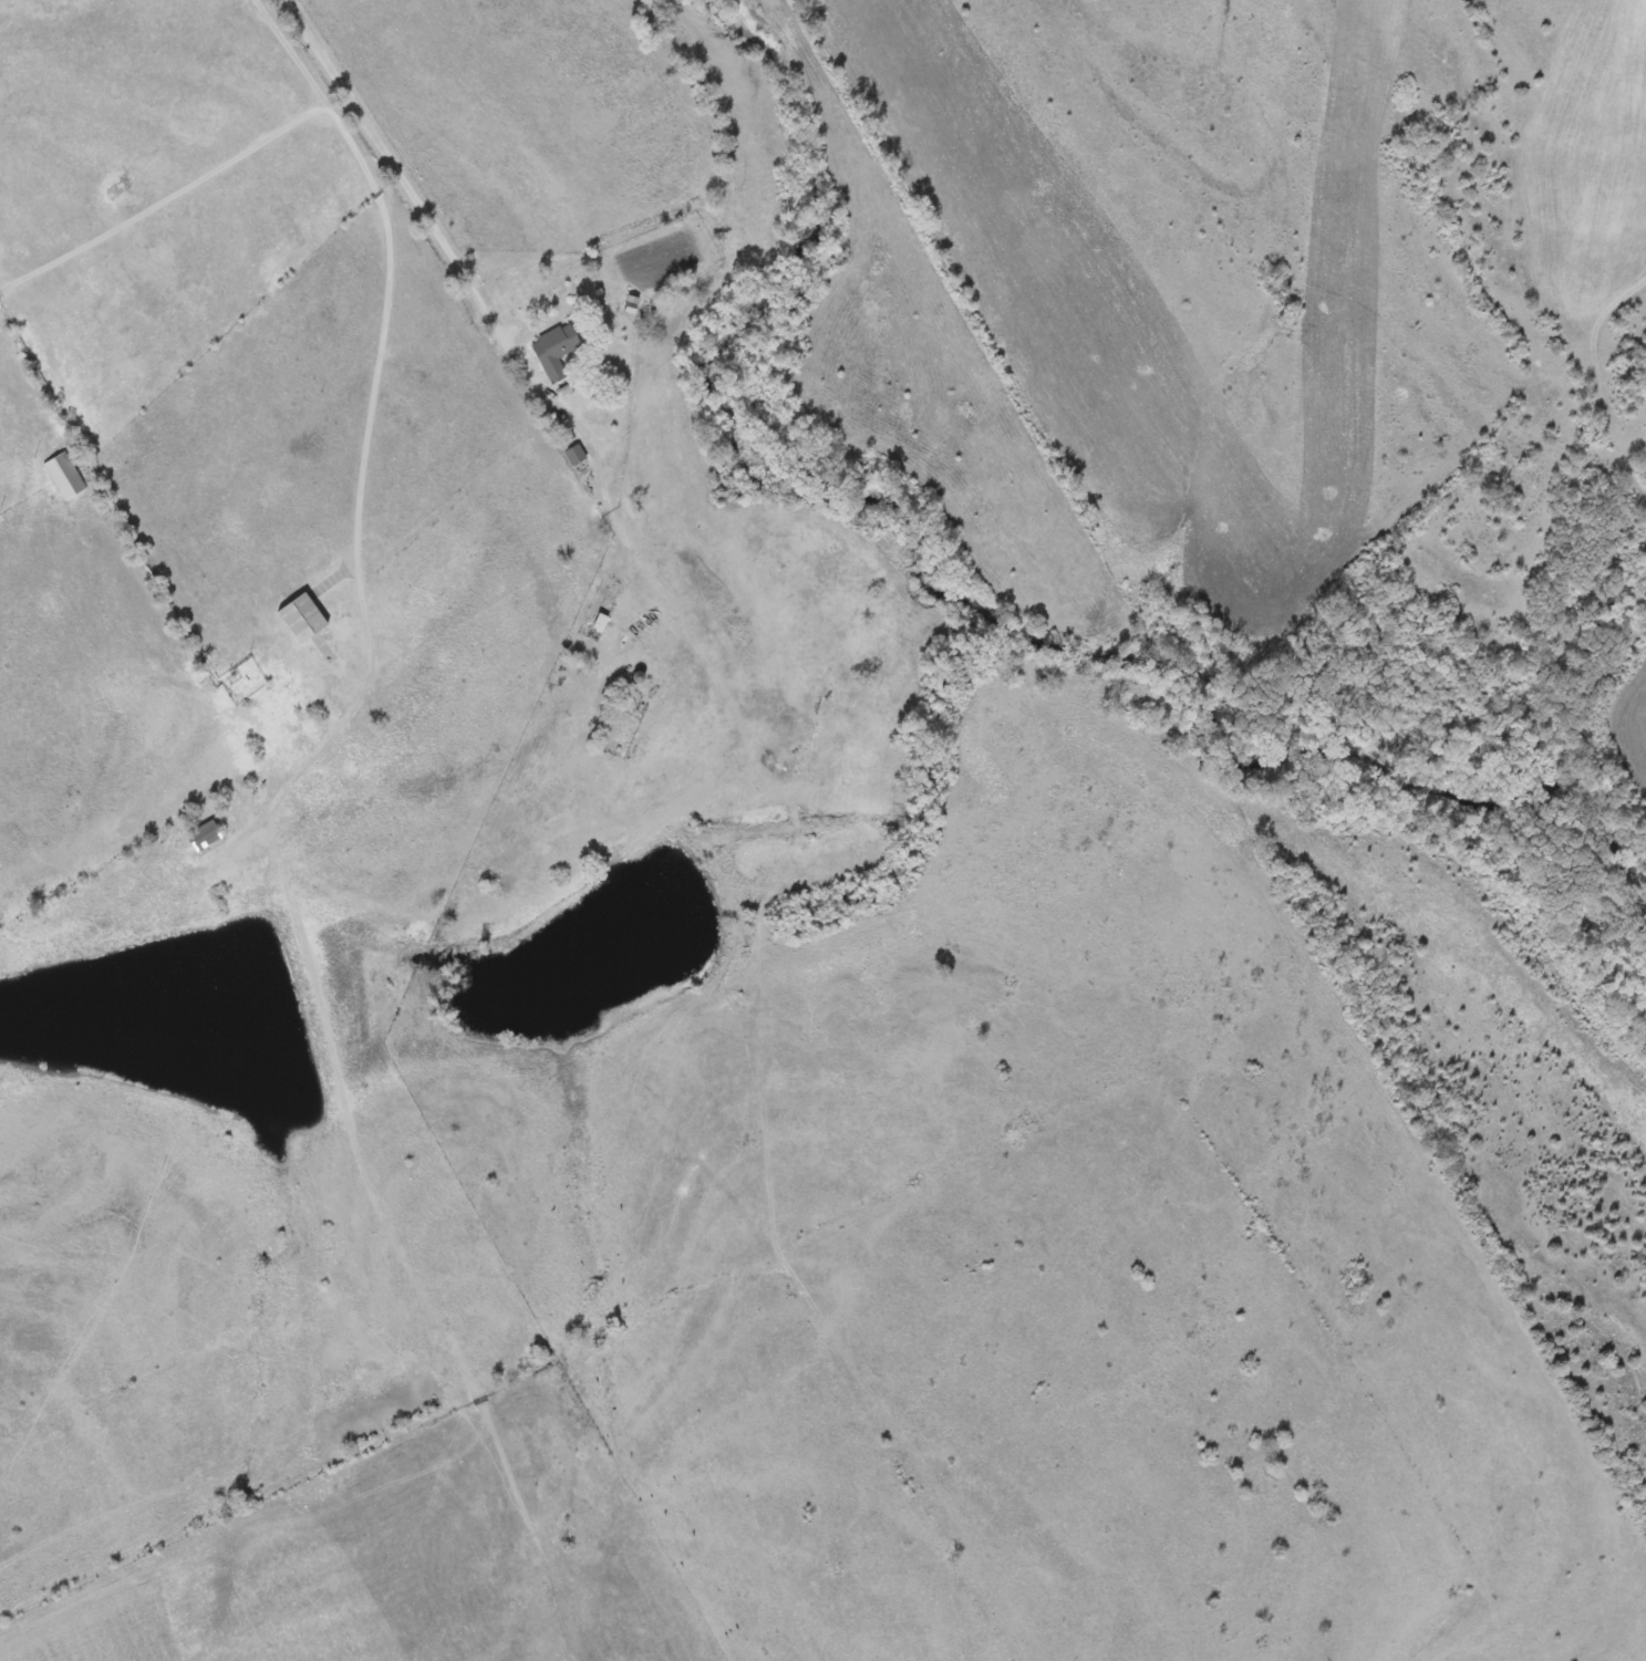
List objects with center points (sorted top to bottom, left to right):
building: (551, 349)
building: (571, 454)
building: (66, 476)
building: (298, 617)
building: (594, 626)
building: (201, 837)

